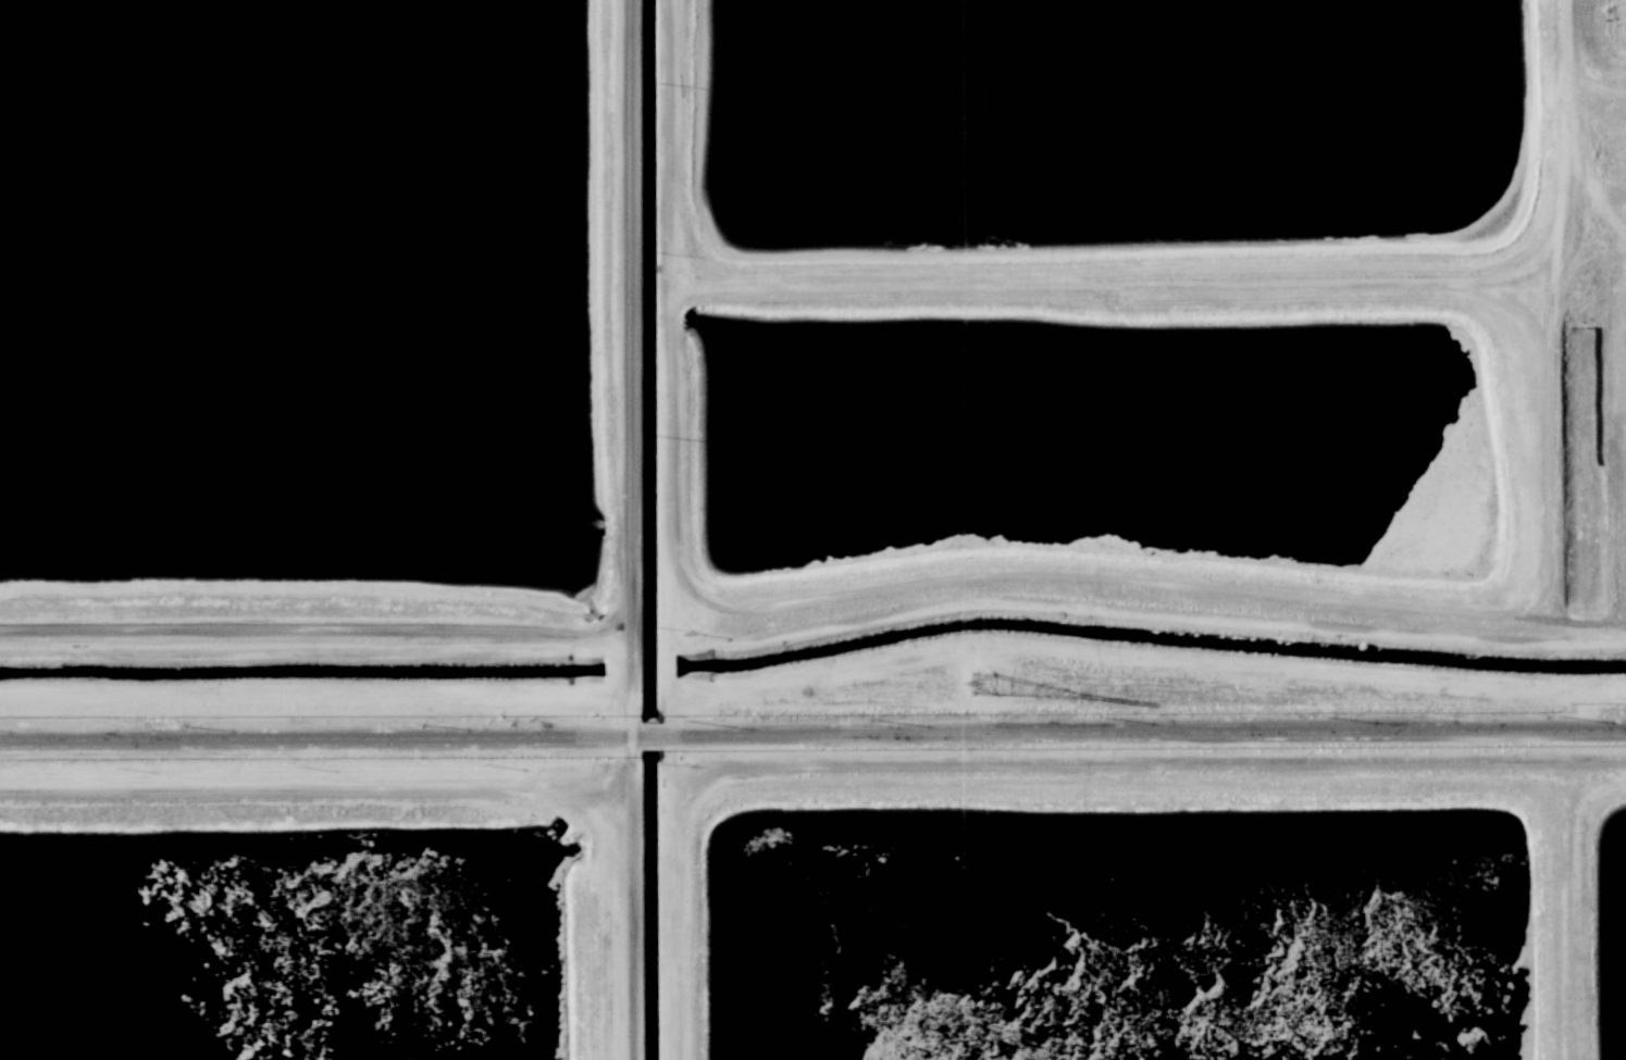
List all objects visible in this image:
wastewater plant: (1609, 30)
wastewater plant: (1114, 109)
wastewater plant: (1612, 204)
wastewater plant: (296, 291)
road: (625, 357)
wastewater plant: (1048, 454)
wastewater plant: (812, 529)
road: (294, 625)
road: (607, 631)
power tower: (981, 682)
road: (314, 699)
road: (631, 733)
road: (812, 736)
road: (1000, 761)
road: (629, 784)
road: (290, 786)
road: (605, 795)
road: (625, 835)
road: (1560, 909)
wastewater plant: (1118, 920)
wastewater plant: (1610, 920)
wastewater plant: (286, 941)
road: (626, 957)

